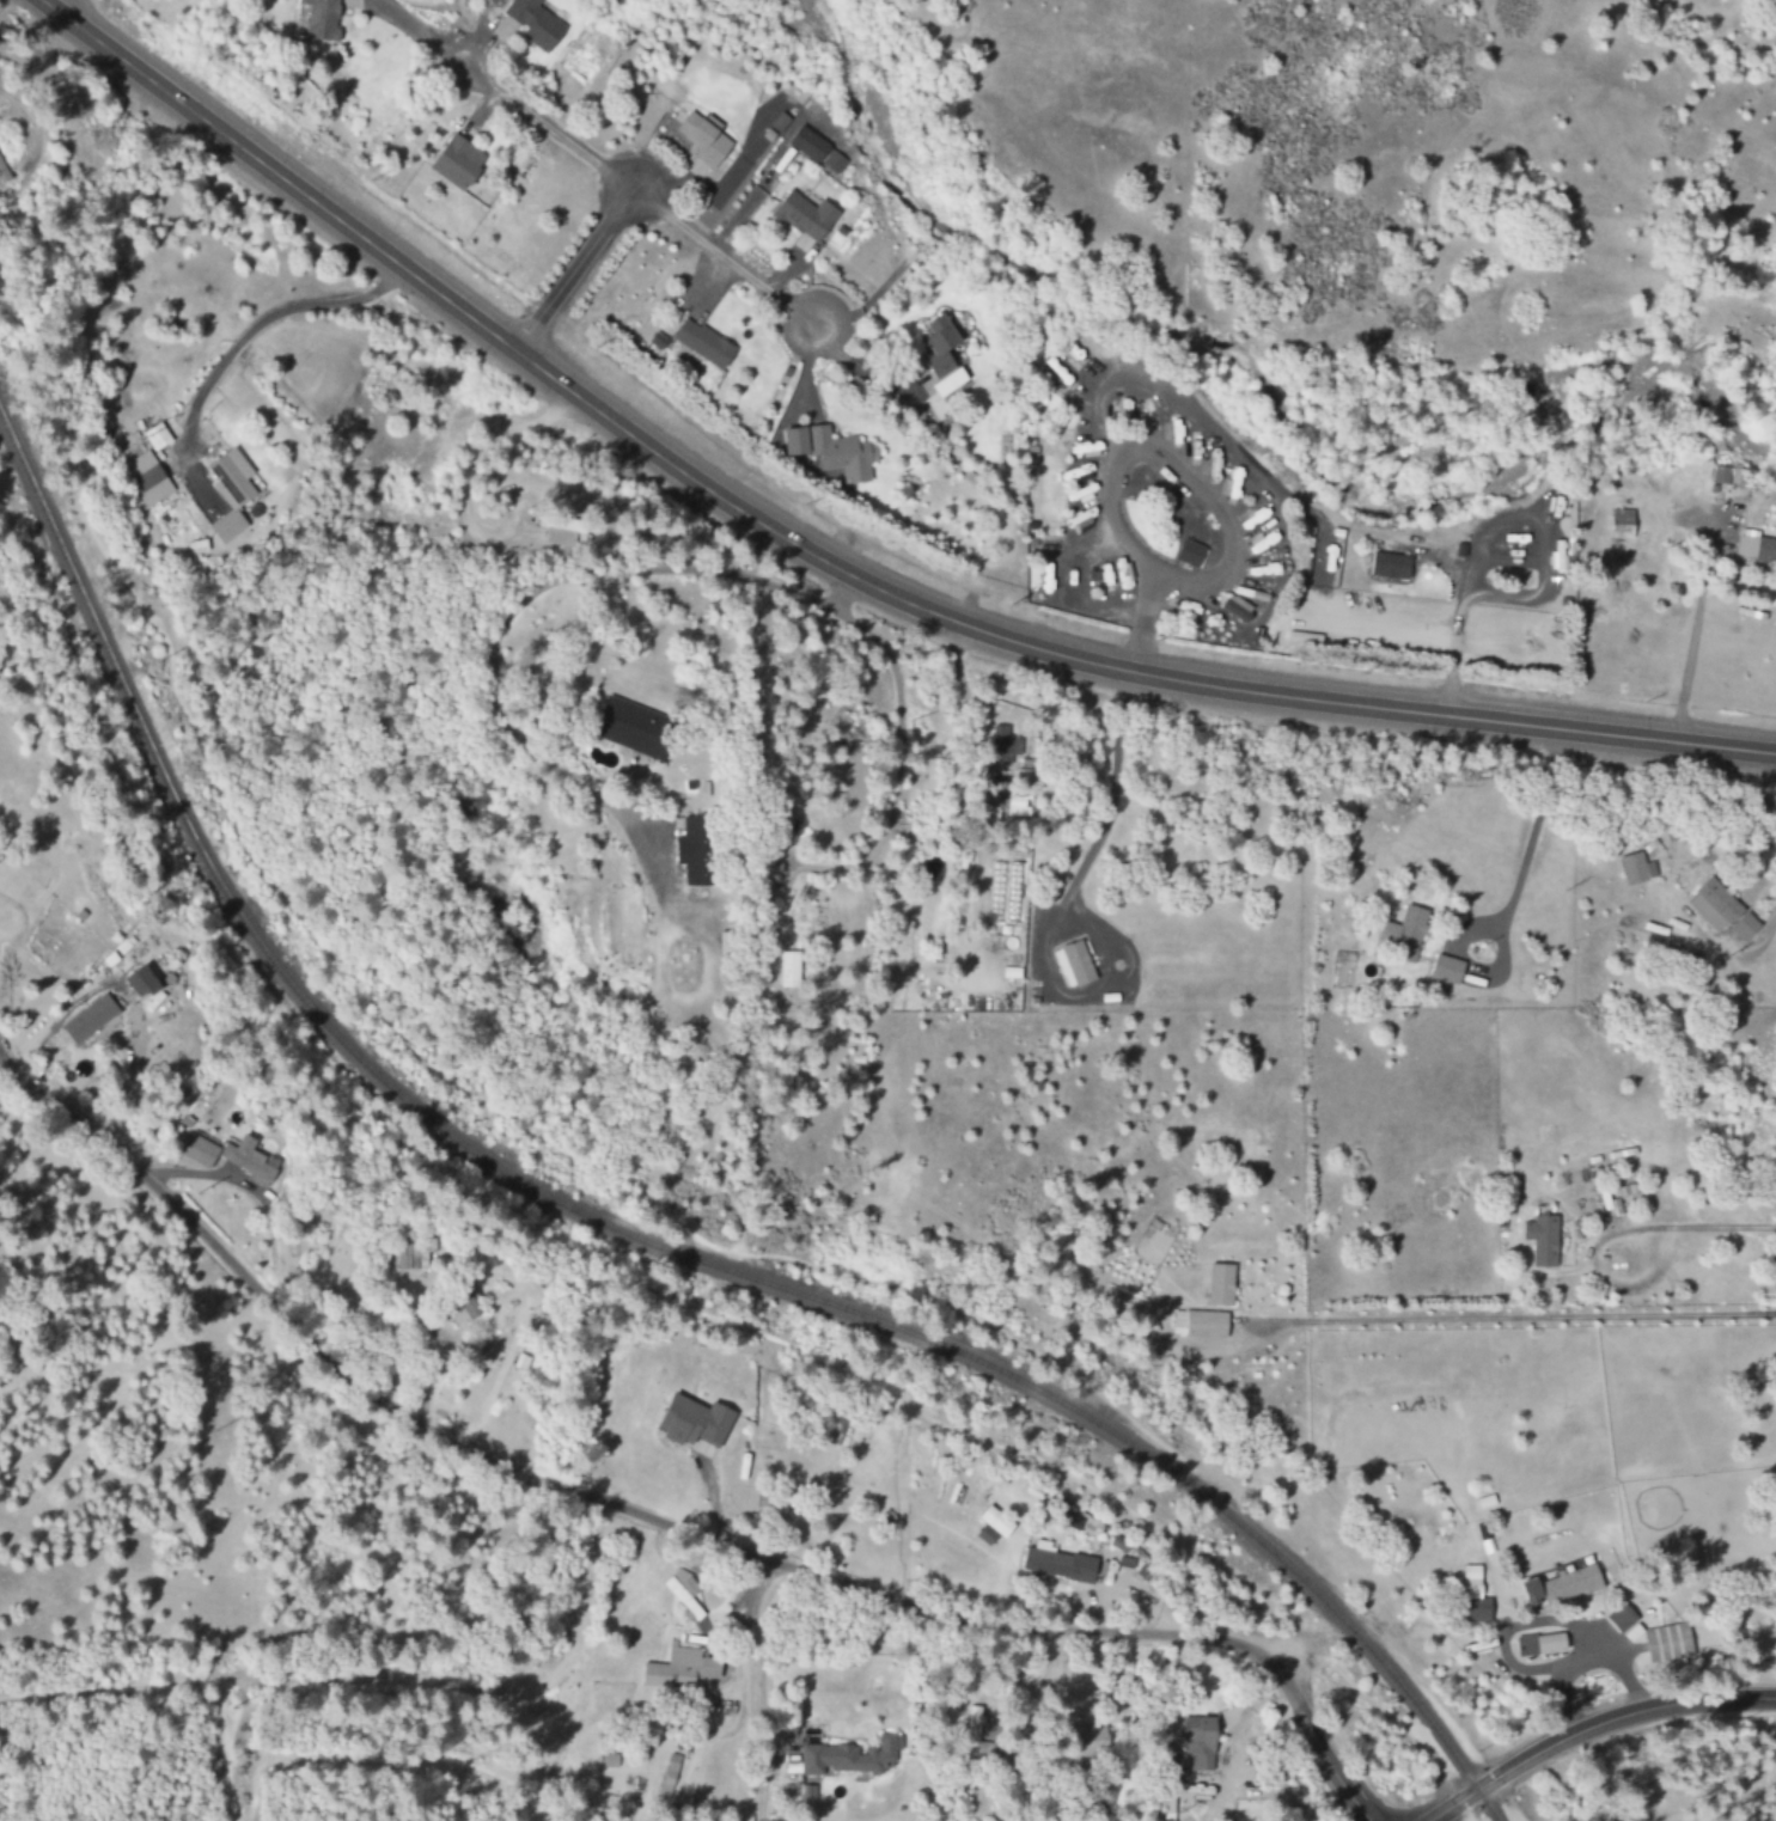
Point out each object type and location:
building: (321, 19)
building: (533, 24)
building: (779, 123)
road: (538, 126)
building: (703, 139)
building: (807, 145)
building: (457, 163)
building: (834, 163)
building: (2, 175)
building: (805, 216)
road: (730, 264)
road: (570, 273)
building: (702, 344)
building: (940, 356)
building: (155, 436)
building: (832, 452)
building: (232, 476)
building: (1734, 478)
building: (145, 481)
building: (1621, 525)
building: (227, 527)
building: (1756, 548)
building: (1189, 554)
road: (828, 566)
building: (1389, 567)
road: (525, 599)
building: (1237, 609)
road: (1692, 635)
road: (1454, 659)
building: (633, 728)
building: (1003, 747)
road: (898, 762)
building: (1018, 803)
road: (1530, 831)
building: (692, 850)
building: (1636, 869)
building: (767, 876)
building: (1721, 910)
building: (1404, 933)
building: (1073, 965)
building: (788, 968)
building: (1446, 970)
building: (139, 982)
building: (89, 1020)
building: (199, 1151)
building: (250, 1161)
railway: (633, 1235)
building: (1542, 1240)
building: (411, 1254)
building: (1220, 1285)
building: (459, 1304)
road: (1510, 1319)
building: (1198, 1324)
building: (692, 1422)
building: (770, 1507)
building: (1067, 1521)
road: (659, 1522)
building: (991, 1526)
building: (1055, 1564)
building: (1471, 1582)
building: (1560, 1585)
building: (683, 1593)
building: (1476, 1609)
building: (1667, 1643)
building: (1540, 1644)
building: (672, 1668)
building: (708, 1668)
road: (757, 1691)
road: (1589, 1725)
building: (971, 1730)
building: (1092, 1742)
building: (1198, 1743)
building: (850, 1758)
building: (670, 1774)
building: (808, 1793)

